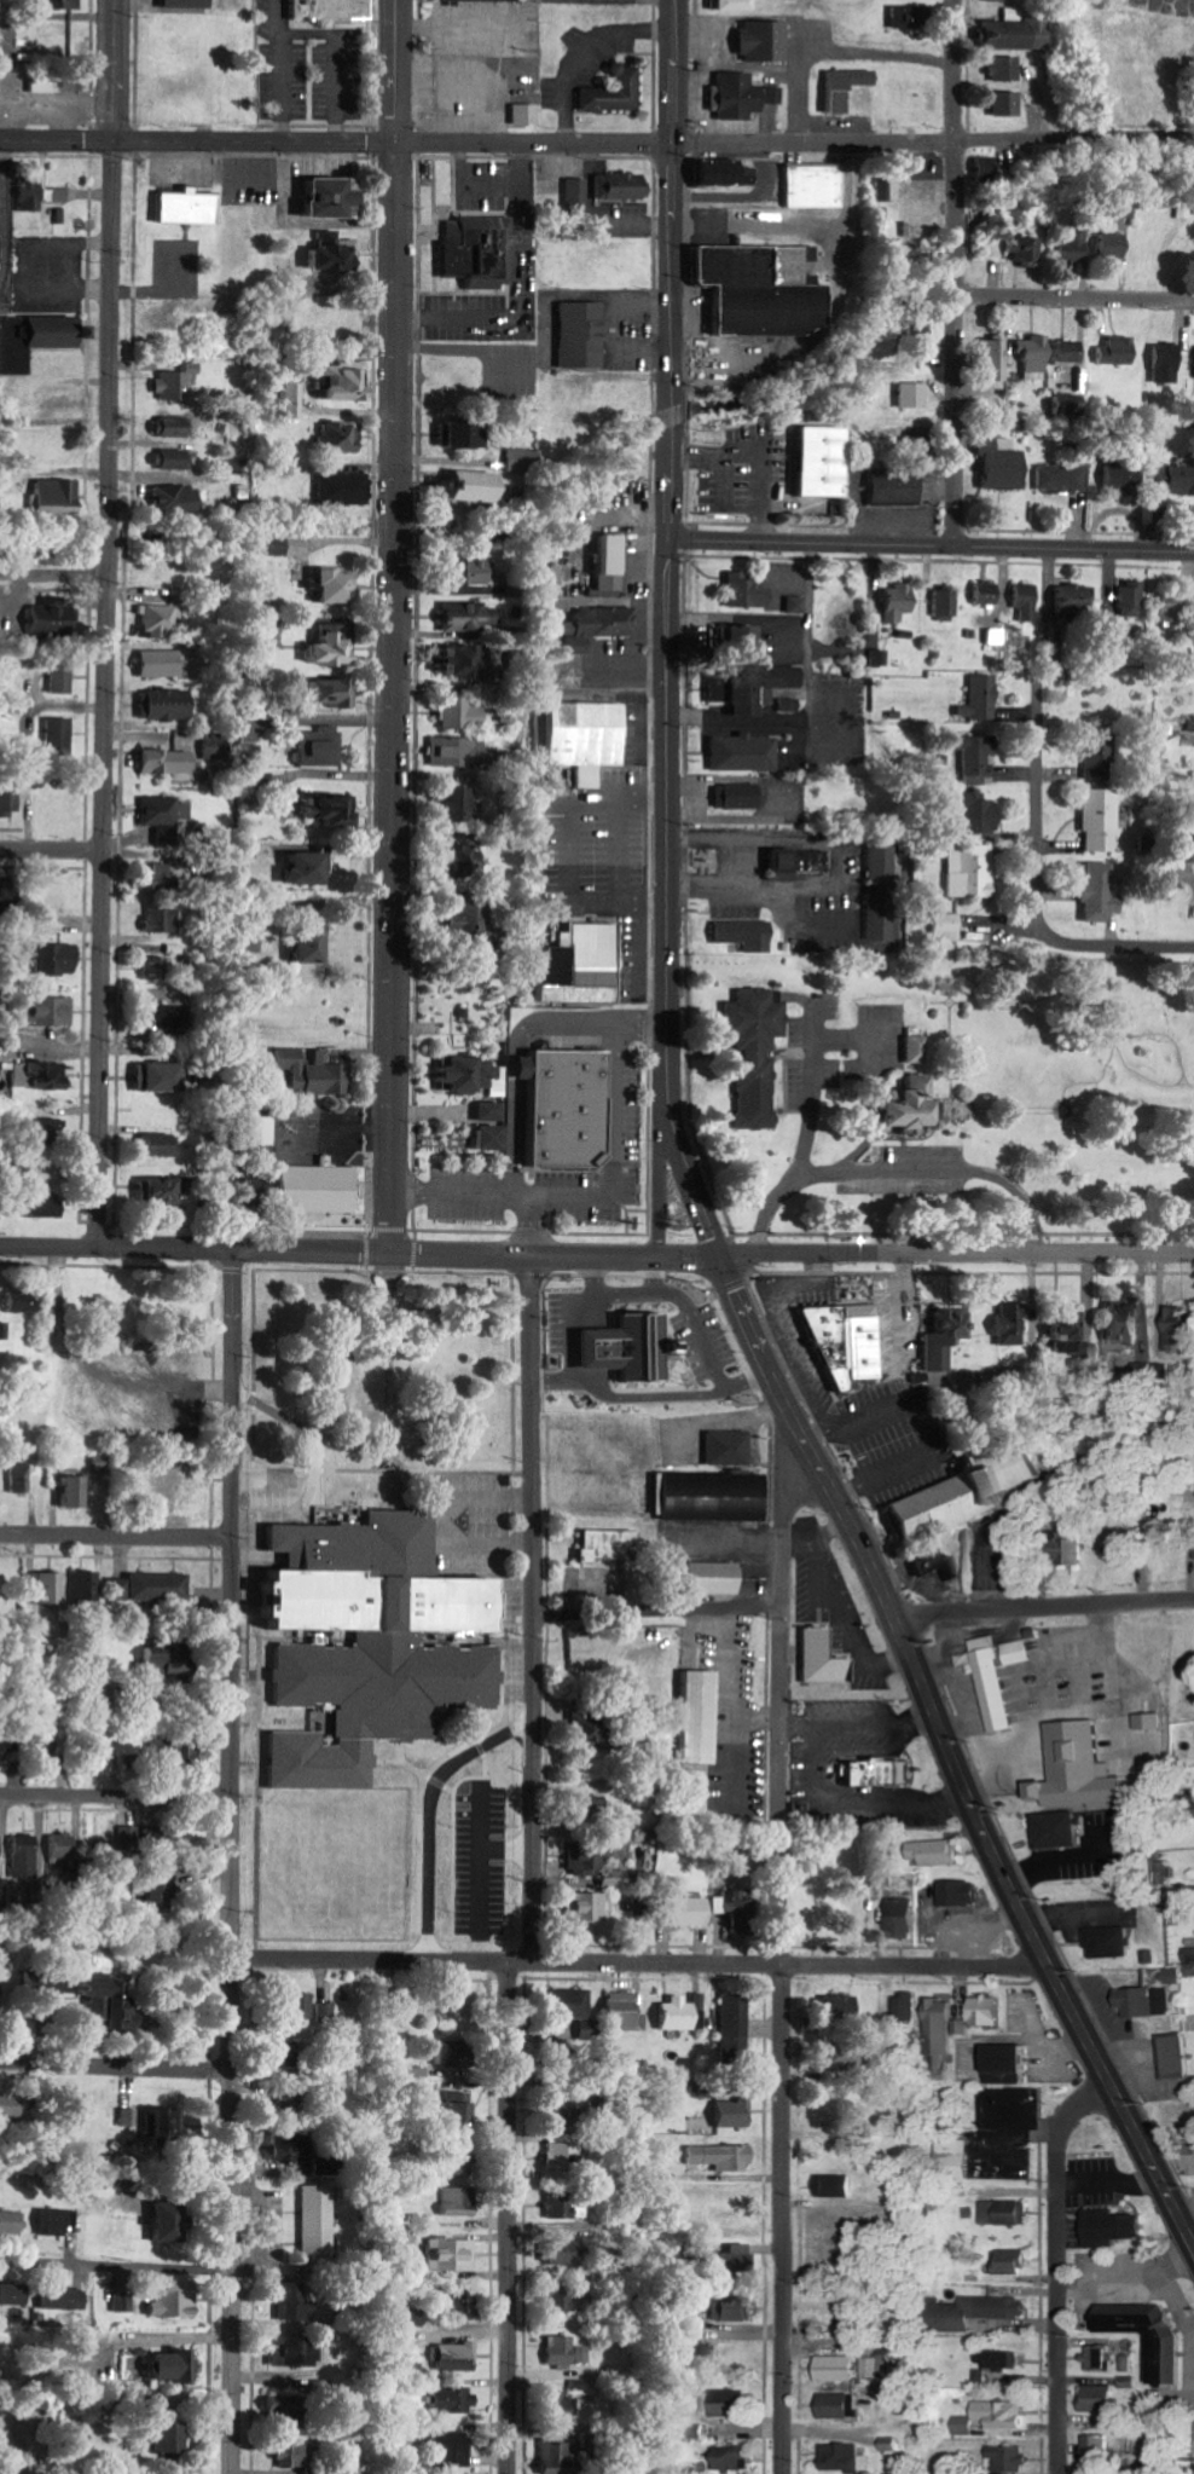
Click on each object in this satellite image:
building: (485, 0)
building: (189, 4)
building: (64, 5)
building: (735, 5)
building: (332, 10)
building: (909, 18)
building: (1020, 30)
building: (766, 41)
road: (111, 69)
building: (1005, 69)
road: (402, 71)
building: (846, 88)
building: (616, 92)
building: (744, 96)
building: (1008, 104)
building: (528, 114)
road: (199, 141)
road: (935, 141)
road: (538, 144)
building: (983, 169)
building: (729, 173)
building: (622, 187)
building: (815, 187)
building: (883, 190)
building: (36, 196)
building: (578, 196)
building: (337, 198)
building: (189, 208)
building: (1125, 208)
building: (1073, 245)
building: (1113, 245)
building: (1026, 249)
building: (479, 252)
building: (336, 254)
road: (955, 272)
building: (764, 290)
road: (1076, 308)
building: (920, 330)
road: (106, 333)
building: (584, 335)
building: (1119, 351)
building: (1071, 352)
building: (1036, 356)
building: (998, 360)
building: (1169, 364)
building: (176, 383)
building: (914, 395)
building: (173, 427)
building: (468, 434)
building: (341, 438)
building: (172, 459)
building: (523, 461)
building: (825, 462)
building: (1003, 466)
building: (1124, 476)
building: (1063, 479)
building: (1177, 479)
building: (477, 487)
building: (898, 487)
building: (344, 490)
building: (242, 493)
building: (58, 496)
building: (179, 499)
road: (106, 536)
road: (932, 543)
building: (614, 563)
building: (474, 572)
road: (53, 574)
building: (336, 588)
building: (749, 593)
building: (989, 594)
building: (1077, 599)
building: (1134, 600)
building: (1028, 602)
building: (900, 603)
building: (946, 603)
building: (798, 605)
building: (1175, 607)
building: (473, 617)
building: (53, 619)
building: (156, 623)
building: (598, 628)
building: (13, 638)
building: (737, 640)
building: (334, 648)
building: (466, 663)
building: (162, 664)
building: (62, 676)
building: (752, 688)
building: (331, 693)
road: (394, 698)
building: (983, 700)
building: (170, 705)
building: (792, 705)
building: (463, 715)
road: (670, 717)
building: (1192, 723)
building: (60, 734)
building: (587, 738)
building: (321, 748)
building: (469, 753)
building: (746, 755)
building: (975, 758)
building: (1100, 759)
building: (169, 763)
building: (738, 797)
building: (10, 802)
building: (460, 807)
building: (330, 810)
building: (979, 814)
building: (170, 819)
building: (1101, 821)
road: (48, 848)
building: (801, 861)
building: (466, 862)
building: (311, 869)
building: (972, 872)
building: (167, 877)
road: (1038, 885)
building: (882, 892)
building: (1101, 894)
building: (6, 896)
road: (97, 896)
building: (162, 920)
building: (470, 920)
building: (949, 926)
building: (747, 935)
building: (313, 947)
building: (56, 959)
building: (584, 966)
building: (160, 970)
building: (54, 1012)
building: (166, 1018)
building: (917, 1050)
building: (758, 1053)
building: (313, 1073)
building: (473, 1074)
building: (41, 1076)
building: (162, 1079)
building: (912, 1103)
building: (568, 1106)
building: (494, 1111)
building: (46, 1131)
building: (494, 1137)
building: (161, 1146)
building: (46, 1177)
building: (320, 1189)
building: (161, 1190)
building: (47, 1207)
road: (196, 1250)
road: (956, 1253)
traffic signals: (719, 1255)
road: (555, 1256)
building: (23, 1302)
building: (1128, 1320)
building: (1012, 1322)
building: (1179, 1326)
building: (1068, 1333)
building: (946, 1336)
building: (631, 1347)
building: (856, 1348)
building: (729, 1447)
building: (22, 1478)
building: (970, 1489)
building: (77, 1492)
building: (715, 1497)
road: (118, 1537)
building: (609, 1545)
building: (1125, 1545)
building: (1074, 1550)
building: (933, 1561)
building: (715, 1578)
building: (88, 1586)
building: (161, 1586)
building: (46, 1588)
building: (120, 1589)
road: (534, 1608)
road: (1044, 1608)
road: (657, 1609)
building: (433, 1637)
building: (376, 1642)
building: (824, 1658)
building: (969, 1661)
building: (172, 1663)
building: (1001, 1677)
building: (702, 1717)
building: (587, 1727)
building: (48, 1745)
building: (2, 1747)
building: (168, 1750)
building: (881, 1771)
building: (1084, 1792)
road: (116, 1793)
building: (593, 1807)
building: (1061, 1830)
building: (161, 1833)
road: (983, 1836)
building: (0, 1839)
building: (62, 1845)
building: (939, 1852)
building: (23, 1856)
building: (586, 1859)
road: (233, 1862)
building: (963, 1894)
building: (643, 1906)
building: (589, 1907)
building: (694, 1911)
building: (905, 1917)
road: (779, 1942)
building: (1113, 1943)
building: (1189, 1960)
road: (638, 1961)
building: (47, 1983)
building: (1153, 1994)
building: (112, 2001)
building: (305, 2006)
building: (572, 2007)
building: (841, 2007)
building: (906, 2008)
building: (627, 2011)
building: (990, 2011)
building: (324, 2012)
building: (682, 2013)
building: (941, 2027)
building: (736, 2030)
building: (291, 2054)
building: (1176, 2056)
building: (844, 2059)
road: (116, 2063)
building: (1010, 2064)
building: (291, 2102)
building: (15, 2108)
building: (462, 2110)
building: (734, 2114)
building: (572, 2116)
building: (157, 2123)
building: (562, 2154)
building: (294, 2156)
building: (723, 2157)
building: (958, 2158)
building: (1192, 2163)
building: (463, 2169)
building: (837, 2186)
building: (459, 2202)
building: (563, 2206)
building: (1007, 2213)
road: (508, 2216)
building: (13, 2221)
building: (57, 2222)
building: (166, 2222)
building: (318, 2227)
building: (1114, 2227)
road: (1193, 2245)
building: (454, 2256)
building: (736, 2260)
building: (1014, 2262)
road: (116, 2265)
road: (1056, 2267)
building: (13, 2295)
building: (564, 2299)
building: (65, 2300)
building: (174, 2301)
building: (294, 2301)
building: (458, 2301)
building: (123, 2304)
building: (736, 2308)
building: (984, 2312)
building: (416, 2319)
building: (295, 2352)
building: (562, 2352)
building: (458, 2357)
building: (1166, 2358)
building: (999, 2359)
building: (1102, 2359)
building: (175, 2366)
building: (842, 2369)
building: (574, 2398)
building: (1105, 2399)
building: (454, 2401)
building: (728, 2401)
building: (844, 2406)
building: (996, 2417)
building: (170, 2438)
building: (892, 2445)
building: (452, 2449)
building: (1100, 2451)
building: (558, 2453)
building: (295, 2455)
building: (846, 2456)
building: (737, 2458)
building: (1010, 2458)

